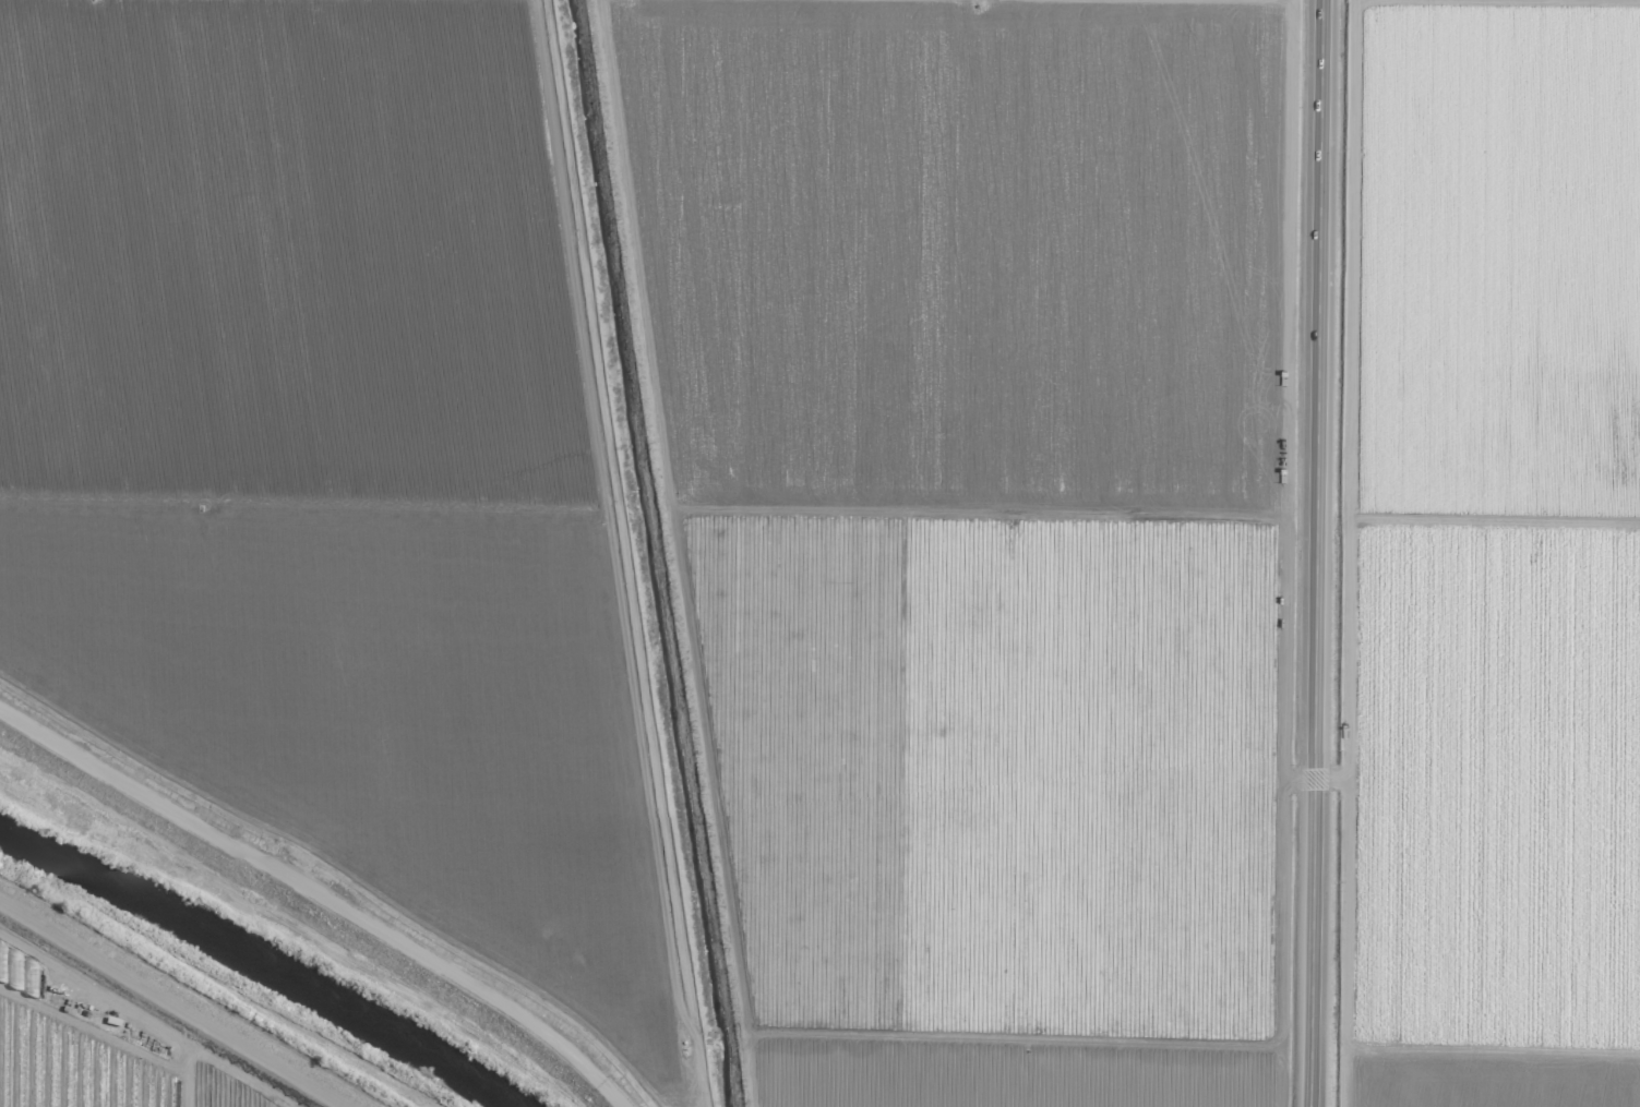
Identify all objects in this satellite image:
crop: (696, 506)
road: (1313, 553)
crop: (1492, 556)
road: (164, 1009)
crop: (94, 1049)

